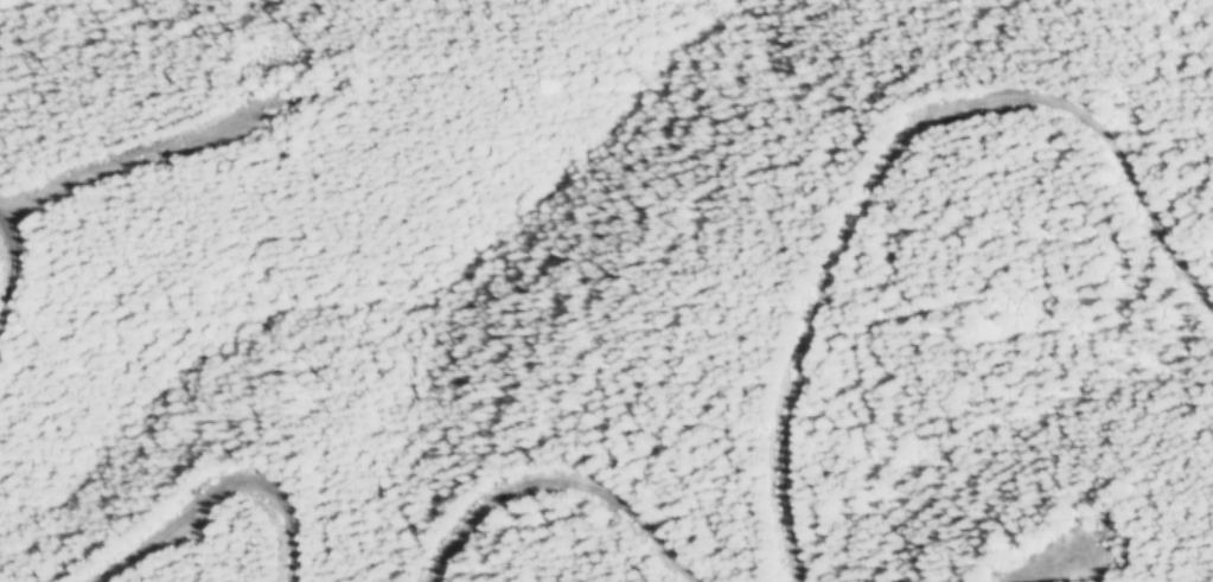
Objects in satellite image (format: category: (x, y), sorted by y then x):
road: (12, 281)

